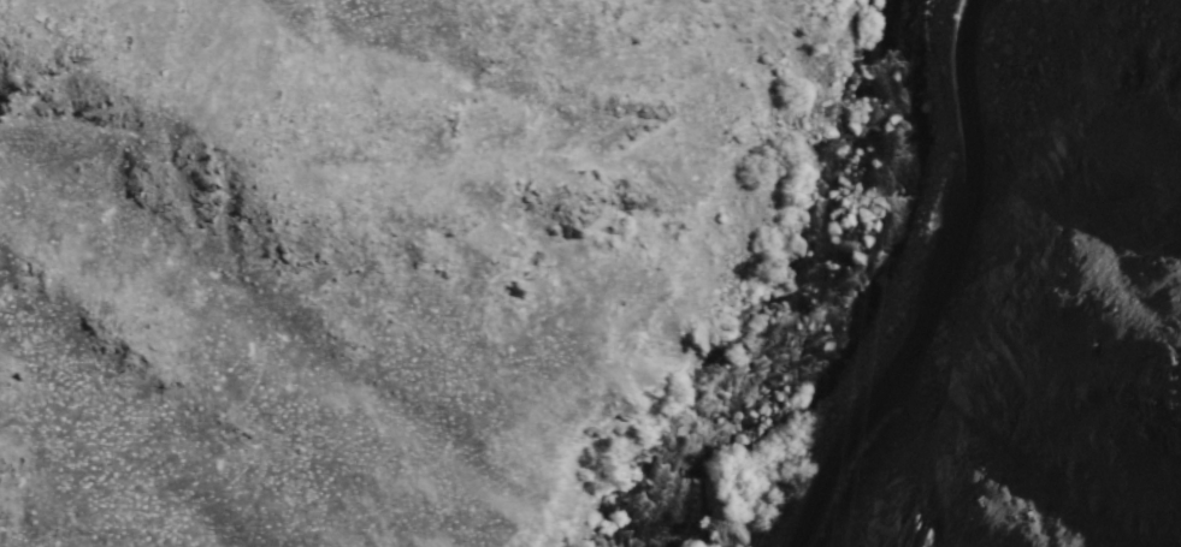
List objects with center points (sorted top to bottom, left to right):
road: (927, 287)
river: (827, 293)

